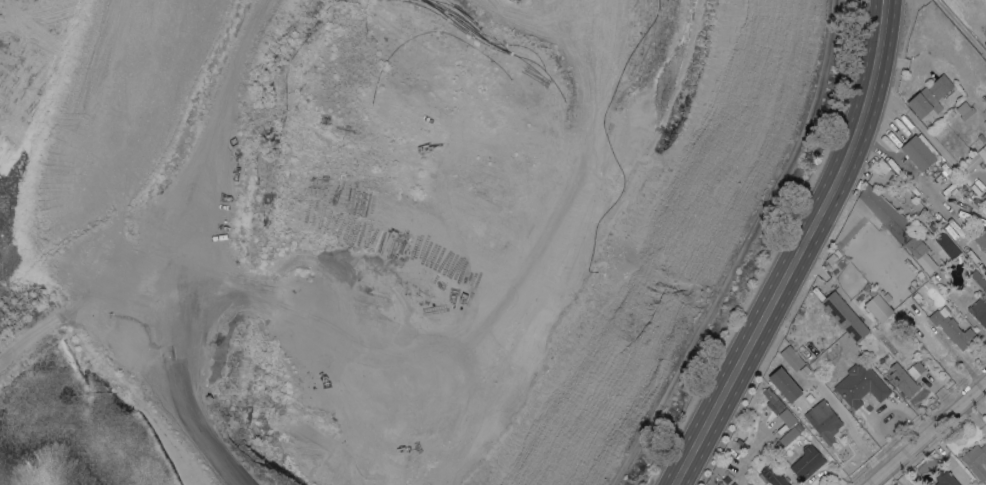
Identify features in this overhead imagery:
road: (963, 17)
building: (929, 96)
building: (965, 110)
road: (195, 113)
building: (981, 137)
building: (919, 151)
building: (975, 159)
building: (984, 197)
building: (885, 215)
building: (922, 215)
building: (853, 222)
building: (932, 227)
quarry: (381, 230)
building: (981, 239)
building: (914, 245)
building: (948, 246)
road: (800, 250)
building: (832, 255)
building: (926, 262)
building: (826, 266)
road: (93, 270)
building: (979, 299)
building: (877, 306)
building: (844, 316)
road: (486, 322)
building: (952, 328)
building: (796, 349)
building: (791, 358)
building: (915, 369)
building: (803, 370)
road: (173, 375)
building: (902, 380)
building: (784, 384)
building: (860, 384)
building: (772, 400)
building: (785, 413)
building: (823, 420)
road: (926, 433)
building: (788, 435)
building: (976, 460)
building: (807, 461)
building: (773, 475)
building: (944, 478)
building: (726, 479)

